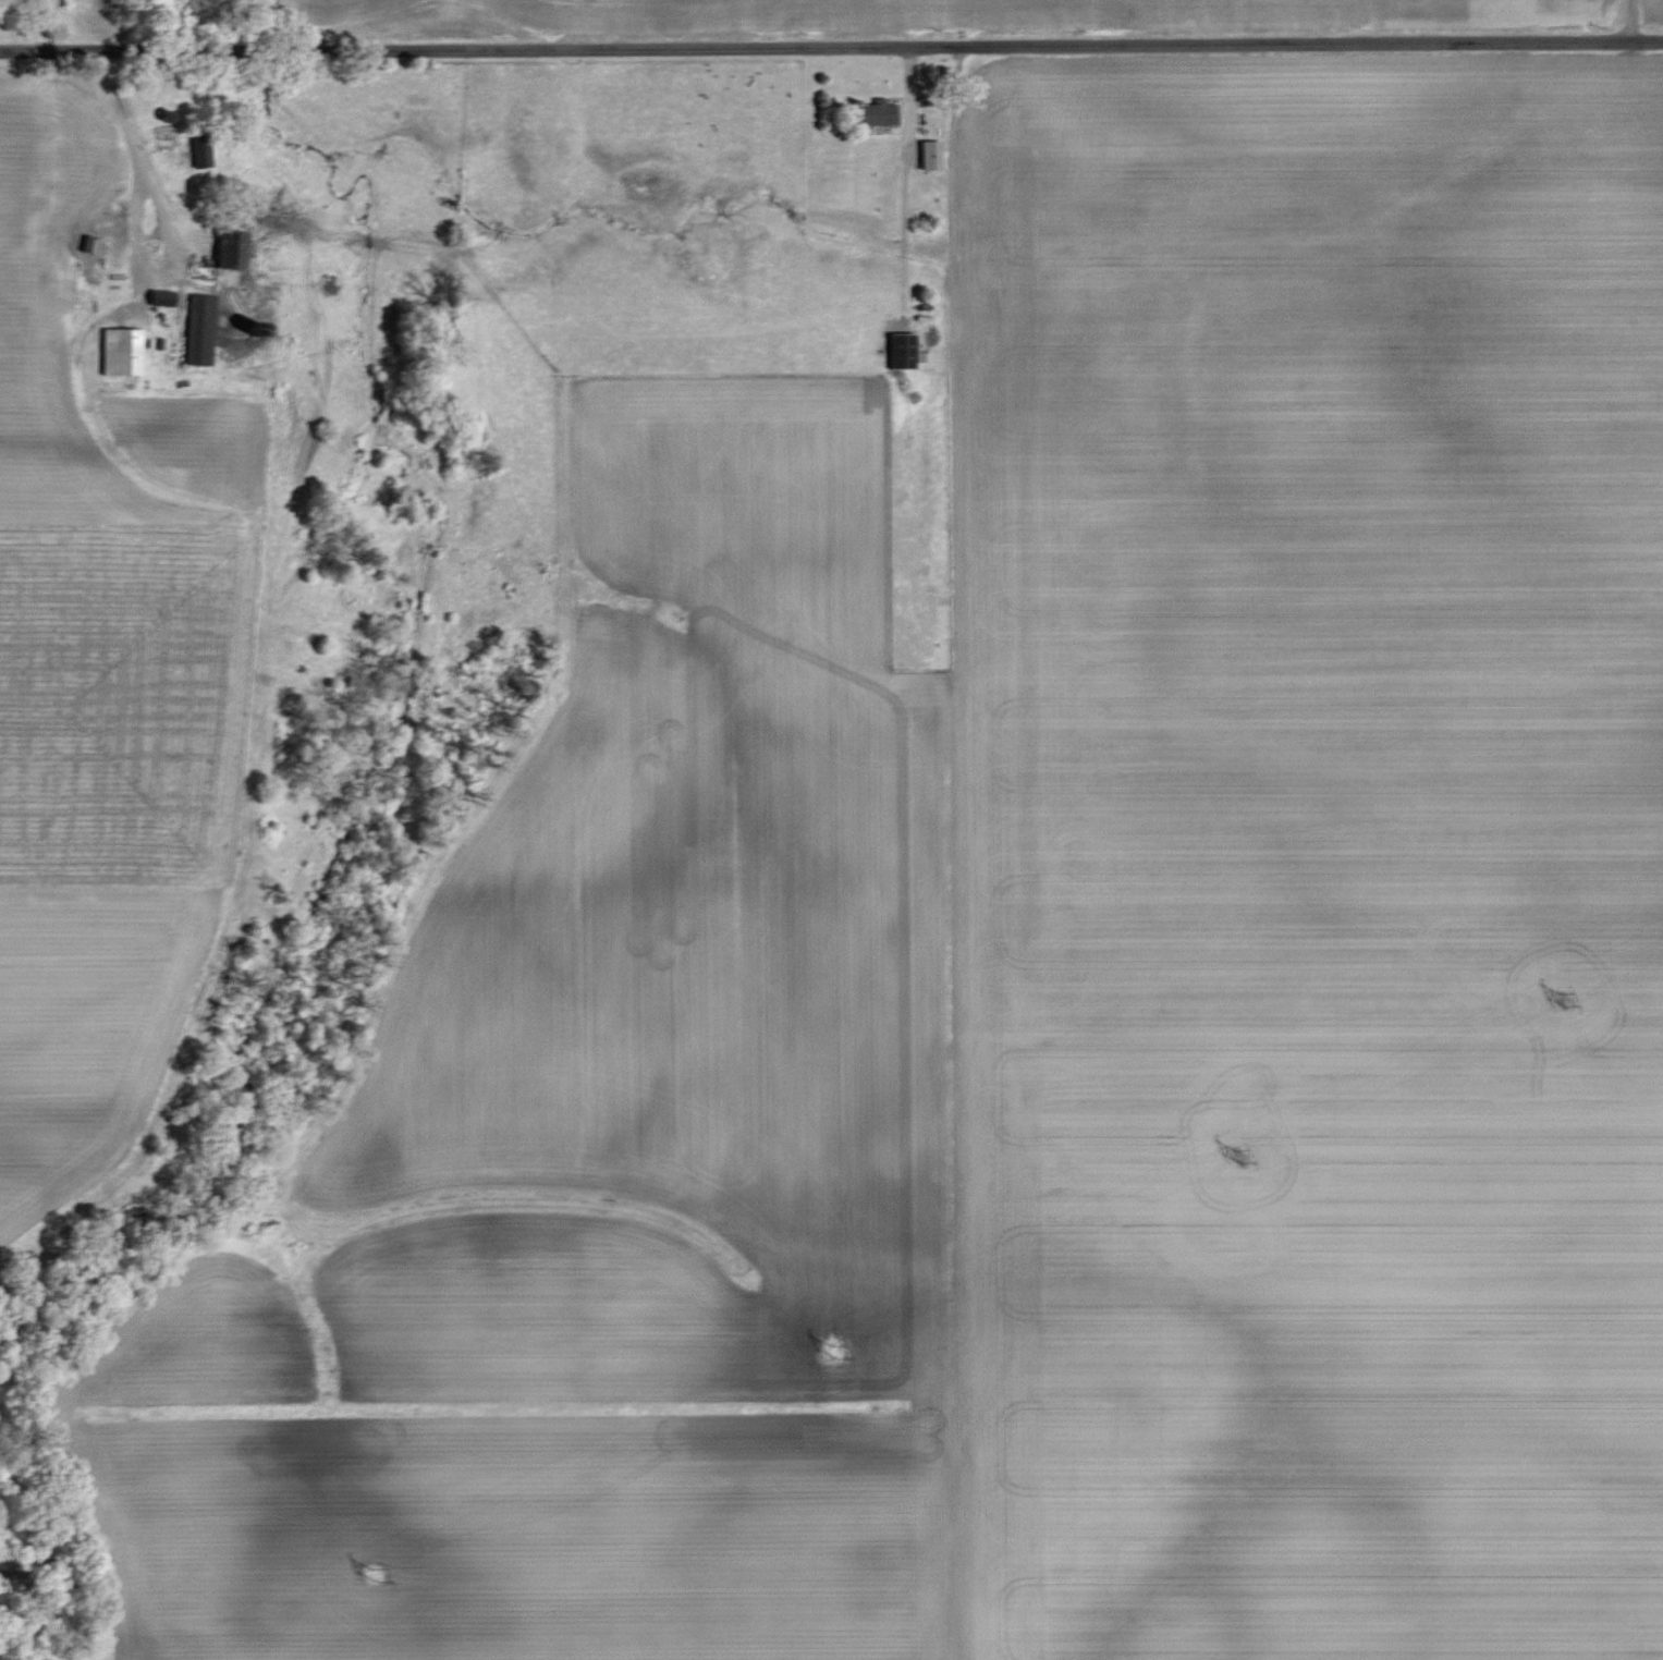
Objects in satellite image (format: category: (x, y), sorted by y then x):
road: (1634, 21)
road: (831, 33)
building: (881, 113)
building: (932, 155)
road: (904, 163)
road: (169, 217)
building: (201, 329)
building: (905, 351)
building: (123, 352)
power tower: (1558, 1002)
power tower: (1234, 1158)
power tower: (832, 1355)
power tower: (372, 1577)

